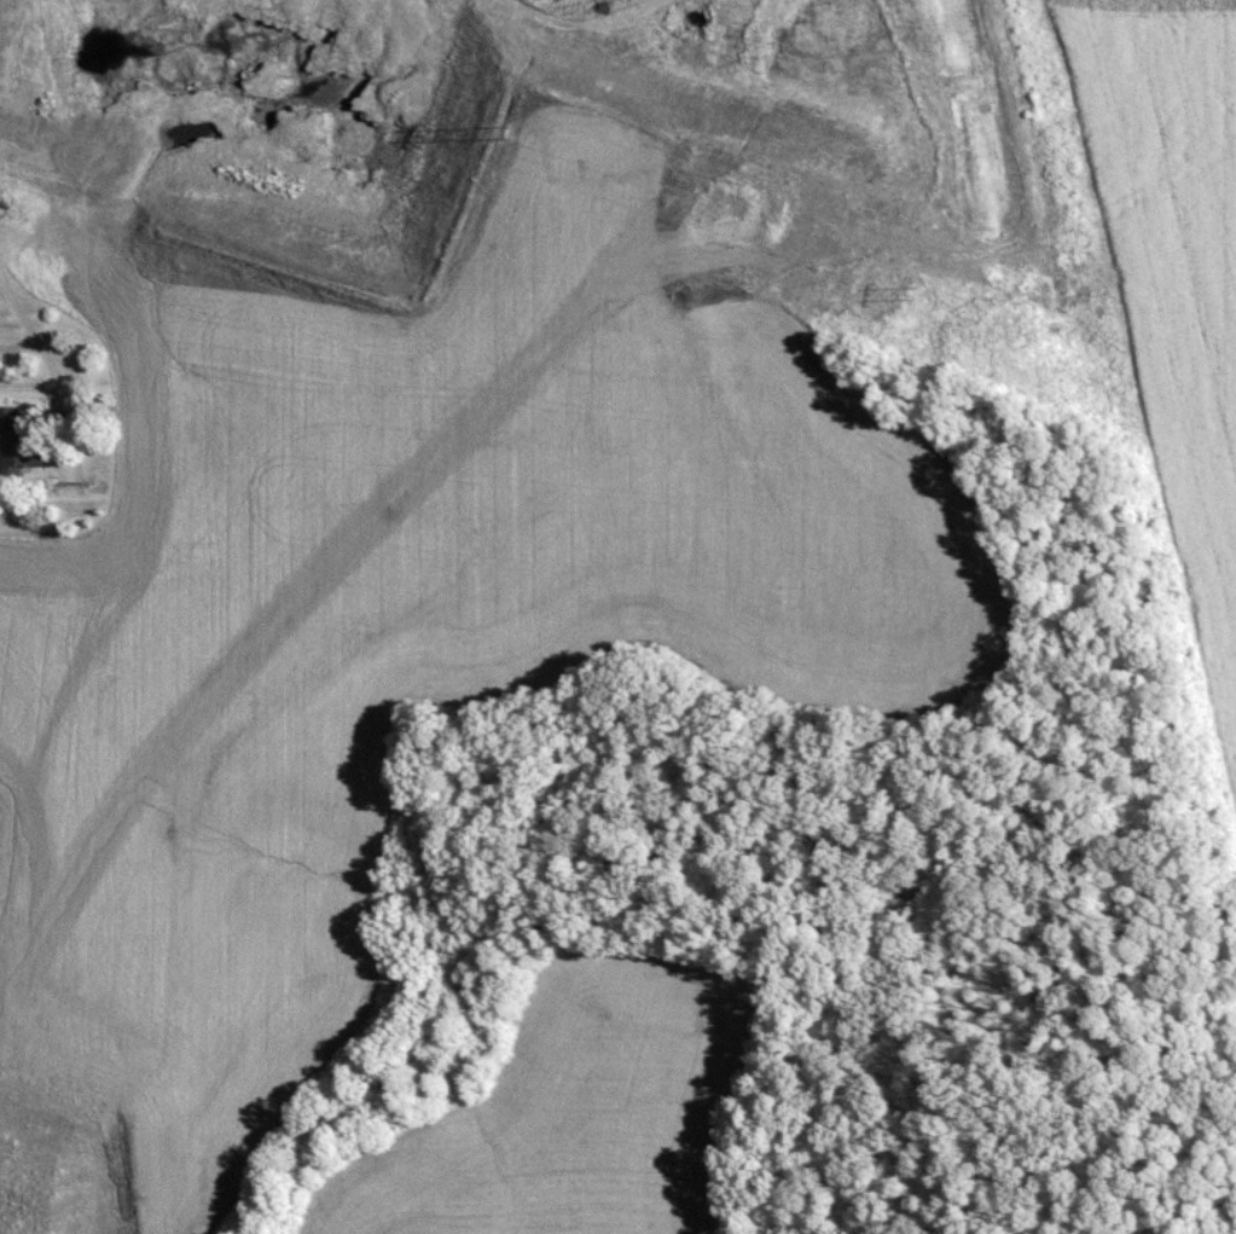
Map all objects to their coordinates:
power tower: (512, 121)
road: (4, 216)
power tower: (953, 299)
building: (22, 436)

